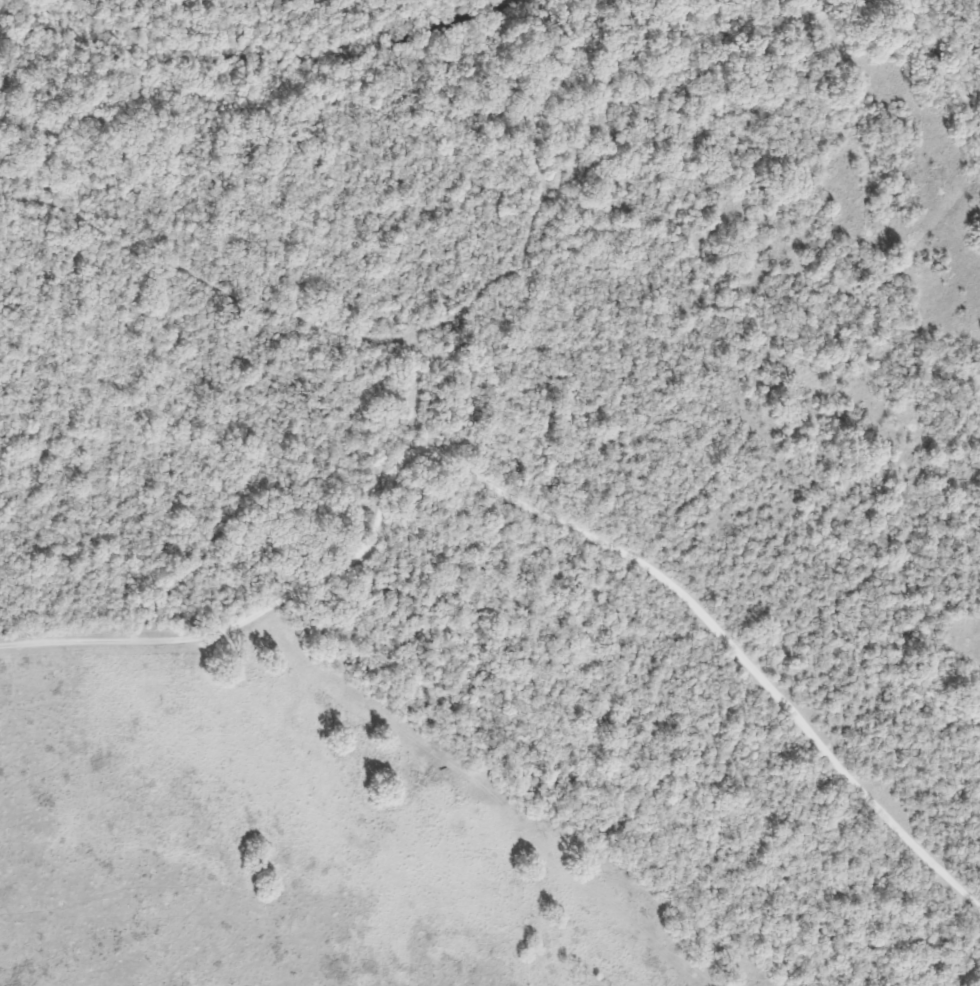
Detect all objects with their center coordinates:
road: (524, 523)

